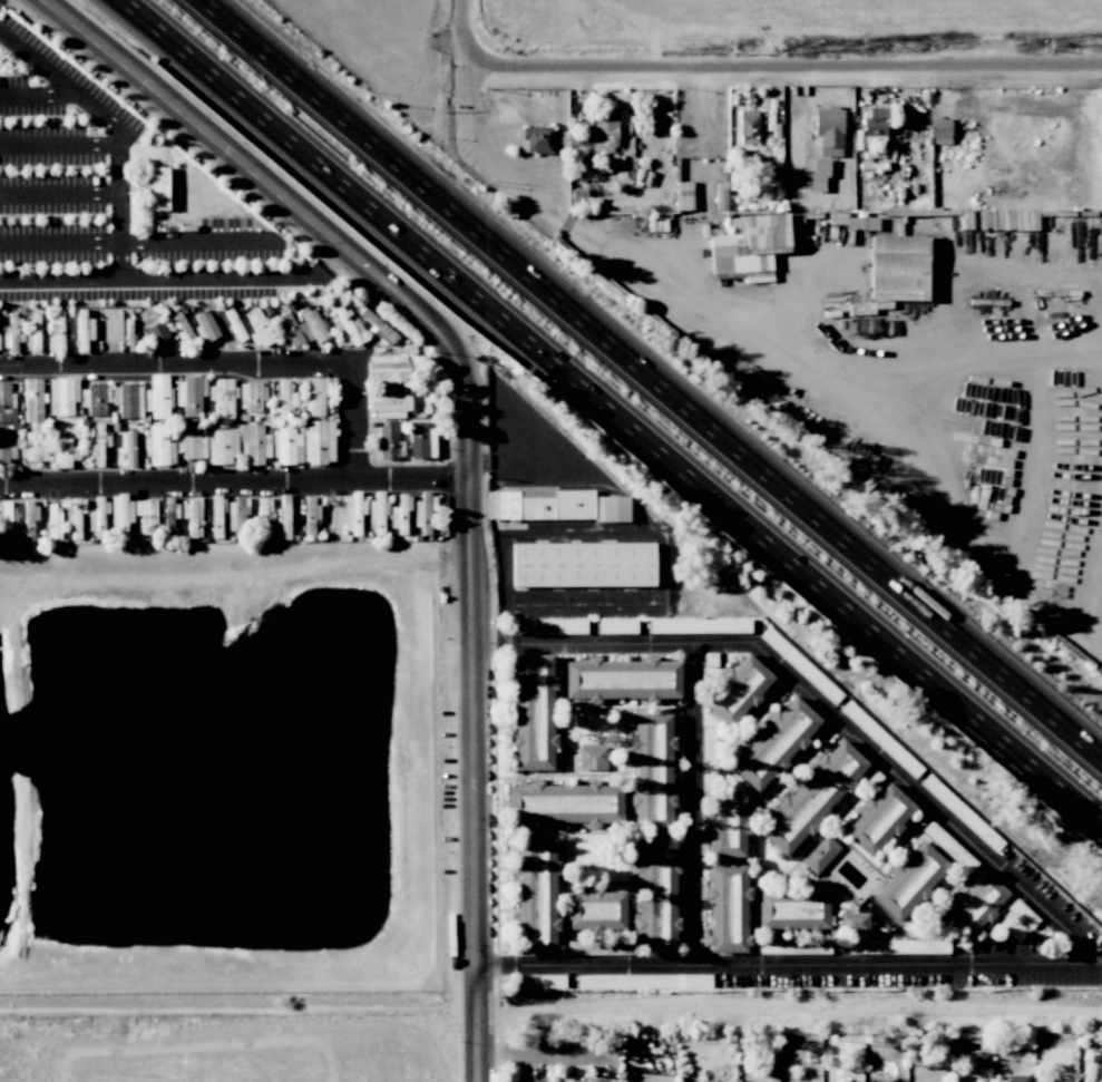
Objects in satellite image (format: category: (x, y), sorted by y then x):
road: (464, 31)
road: (783, 62)
road: (470, 91)
road: (41, 95)
building: (748, 127)
building: (875, 127)
building: (829, 130)
building: (940, 130)
building: (595, 135)
building: (536, 139)
road: (58, 146)
building: (819, 174)
road: (254, 177)
building: (159, 188)
road: (59, 194)
building: (577, 198)
building: (721, 199)
building: (861, 223)
road: (136, 242)
building: (748, 243)
road: (119, 244)
road: (615, 253)
building: (898, 267)
road: (60, 275)
building: (153, 325)
building: (376, 325)
building: (205, 326)
building: (181, 328)
building: (259, 328)
building: (312, 328)
building: (348, 328)
building: (287, 329)
building: (85, 330)
building: (236, 330)
building: (35, 331)
building: (58, 331)
building: (12, 332)
building: (391, 369)
road: (652, 379)
building: (62, 396)
building: (189, 396)
building: (251, 396)
building: (314, 396)
building: (158, 397)
building: (222, 398)
building: (94, 399)
building: (284, 399)
building: (33, 400)
building: (128, 400)
building: (7, 403)
building: (388, 403)
road: (612, 412)
road: (352, 423)
building: (389, 440)
building: (418, 440)
building: (319, 441)
building: (192, 443)
building: (98, 445)
building: (254, 445)
building: (158, 446)
building: (223, 446)
building: (285, 446)
building: (33, 447)
building: (6, 448)
building: (129, 449)
building: (65, 454)
road: (410, 479)
building: (284, 504)
building: (264, 506)
building: (554, 506)
building: (241, 507)
building: (7, 511)
building: (425, 511)
building: (377, 513)
building: (119, 514)
building: (146, 514)
building: (400, 514)
building: (75, 515)
building: (353, 515)
building: (96, 516)
building: (53, 523)
building: (583, 565)
building: (550, 626)
building: (616, 626)
building: (700, 626)
building: (622, 680)
building: (737, 691)
building: (534, 712)
road: (468, 722)
building: (881, 739)
building: (774, 743)
building: (592, 758)
building: (708, 762)
building: (652, 771)
building: (812, 798)
building: (565, 803)
road: (693, 806)
building: (879, 819)
building: (725, 828)
building: (949, 847)
building: (820, 855)
building: (909, 881)
building: (536, 896)
building: (656, 896)
building: (976, 903)
building: (728, 909)
building: (793, 909)
building: (595, 912)
road: (1059, 918)
building: (855, 923)
road: (369, 945)
building: (898, 946)
building: (597, 947)
building: (791, 947)
building: (643, 981)
building: (538, 982)
road: (528, 1056)
building: (1017, 1079)
building: (530, 1081)
building: (573, 1081)
building: (709, 1081)

